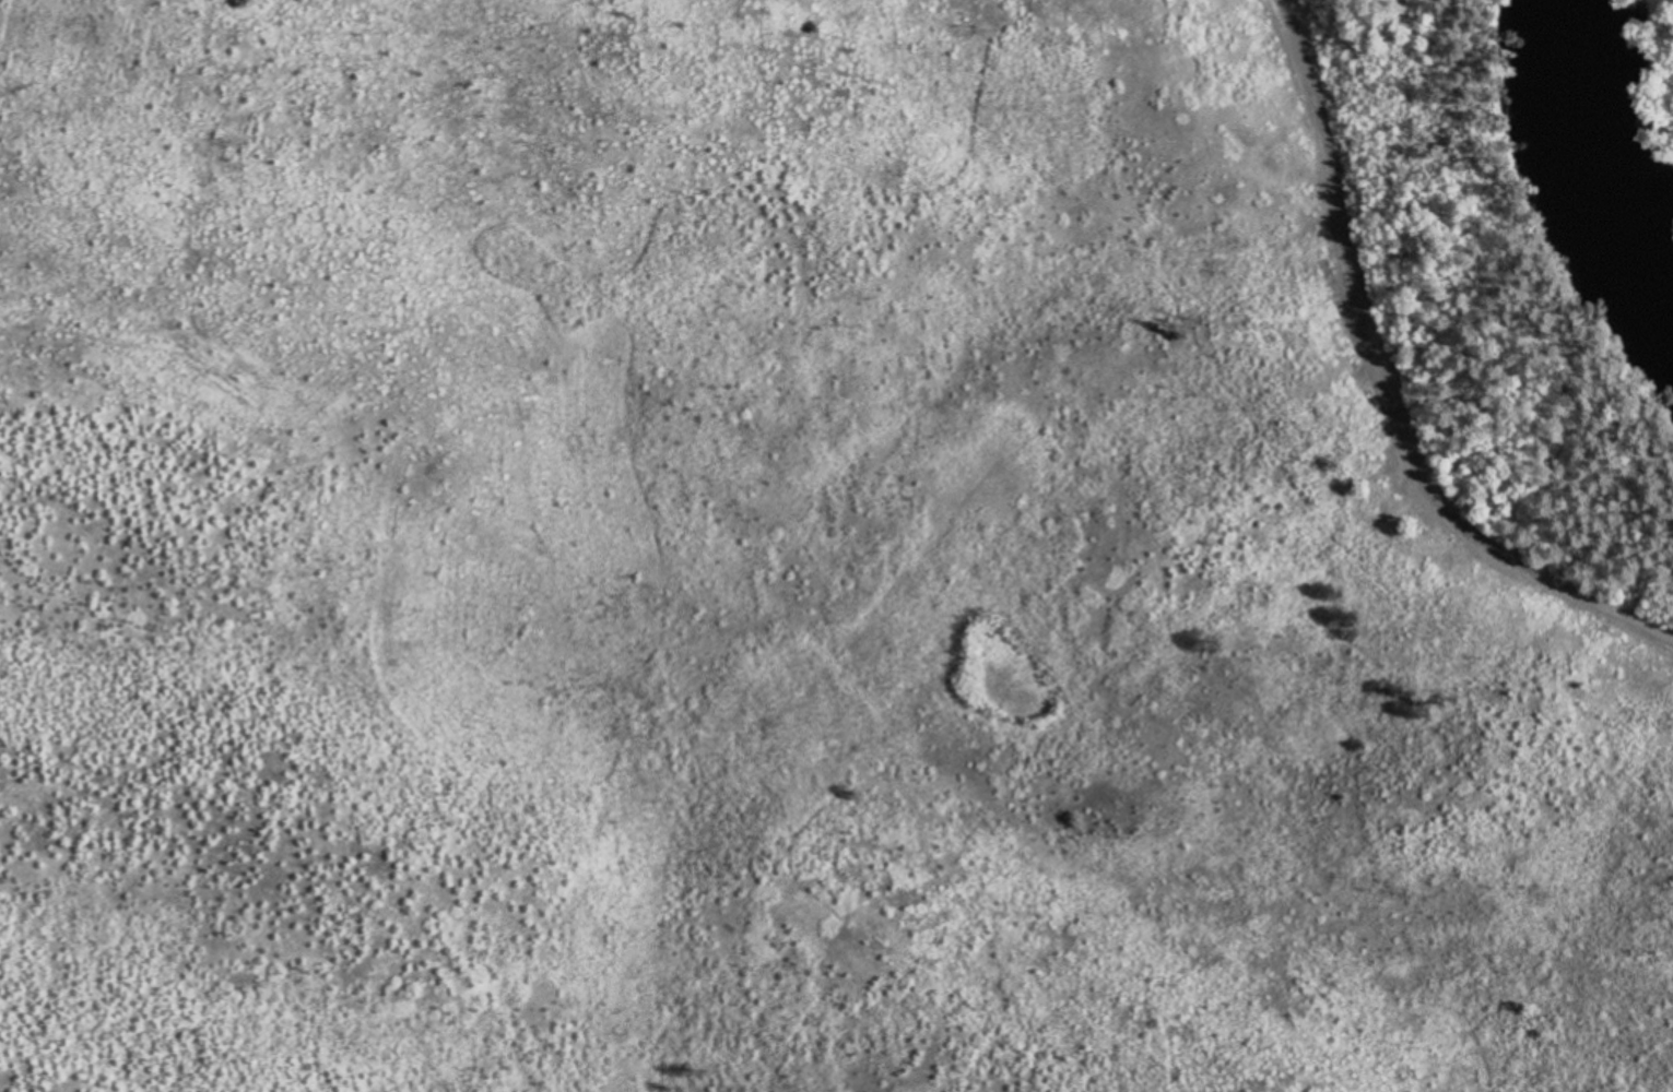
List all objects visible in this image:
river: (1614, 146)
road: (1376, 387)

